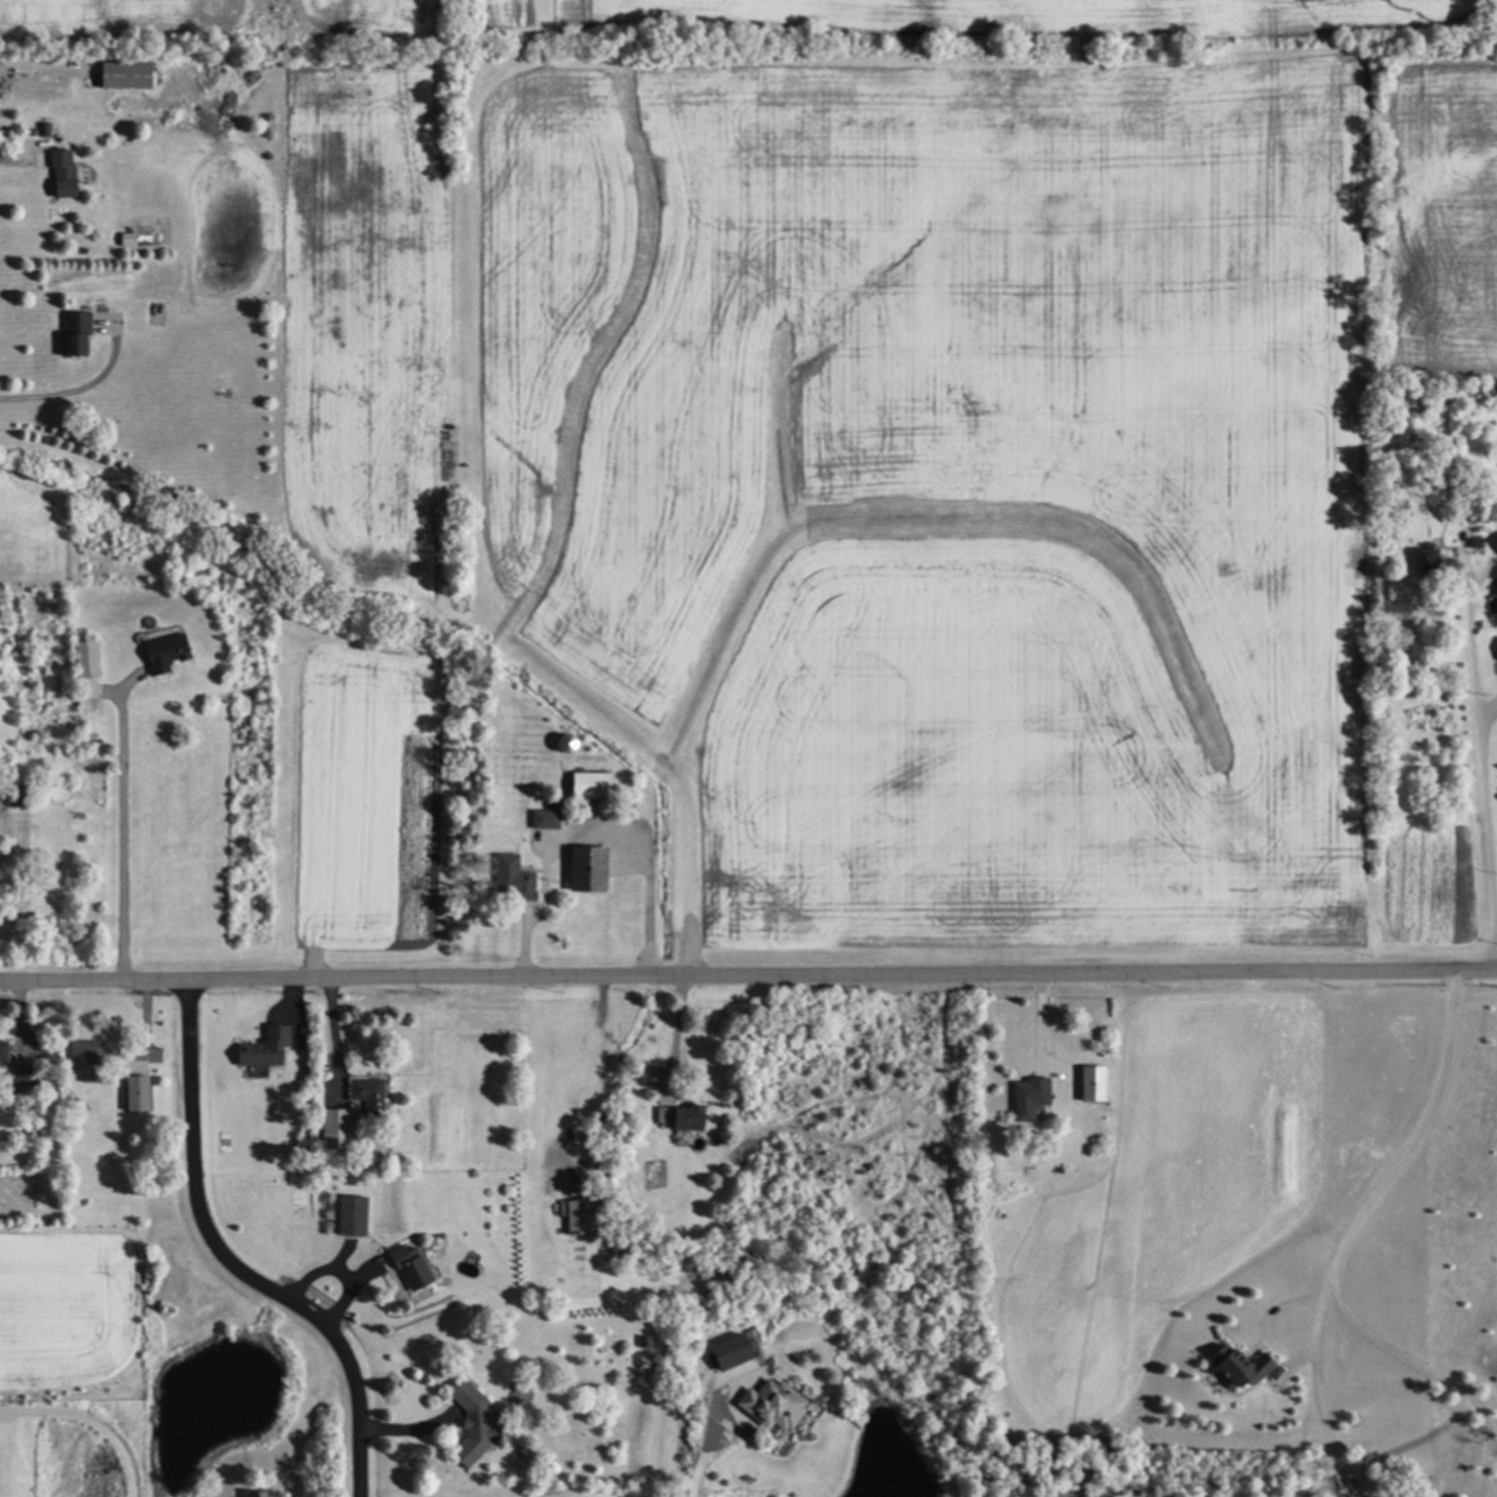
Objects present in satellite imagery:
road: (28, 66)
building: (119, 76)
building: (43, 130)
road: (10, 161)
building: (59, 174)
building: (123, 240)
building: (71, 335)
road: (80, 391)
building: (1496, 550)
building: (1421, 558)
building: (1496, 650)
building: (161, 653)
building: (83, 659)
road: (1483, 771)
building: (585, 784)
building: (541, 819)
road: (588, 831)
road: (121, 839)
building: (582, 868)
building: (510, 878)
road: (748, 973)
road: (676, 1028)
road: (330, 1032)
road: (1043, 1032)
building: (261, 1047)
building: (0, 1051)
building: (79, 1053)
building: (17, 1077)
building: (1088, 1083)
building: (134, 1094)
building: (364, 1094)
building: (1026, 1097)
building: (678, 1118)
building: (346, 1216)
building: (574, 1217)
road: (1337, 1256)
road: (236, 1258)
building: (405, 1267)
road: (341, 1271)
building: (724, 1352)
building: (1236, 1367)
road: (1322, 1389)
building: (768, 1405)
building: (468, 1422)
road: (698, 1456)
building: (251, 1494)

